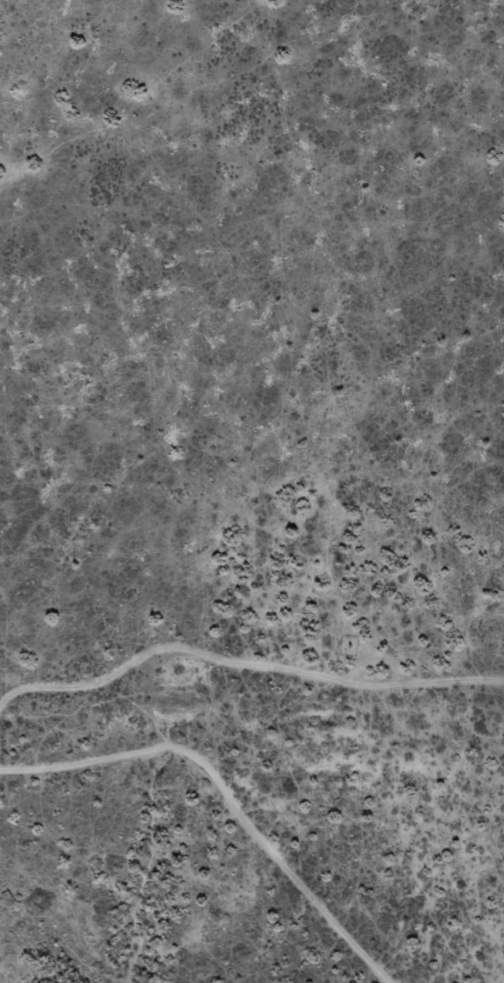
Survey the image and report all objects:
road: (224, 815)

